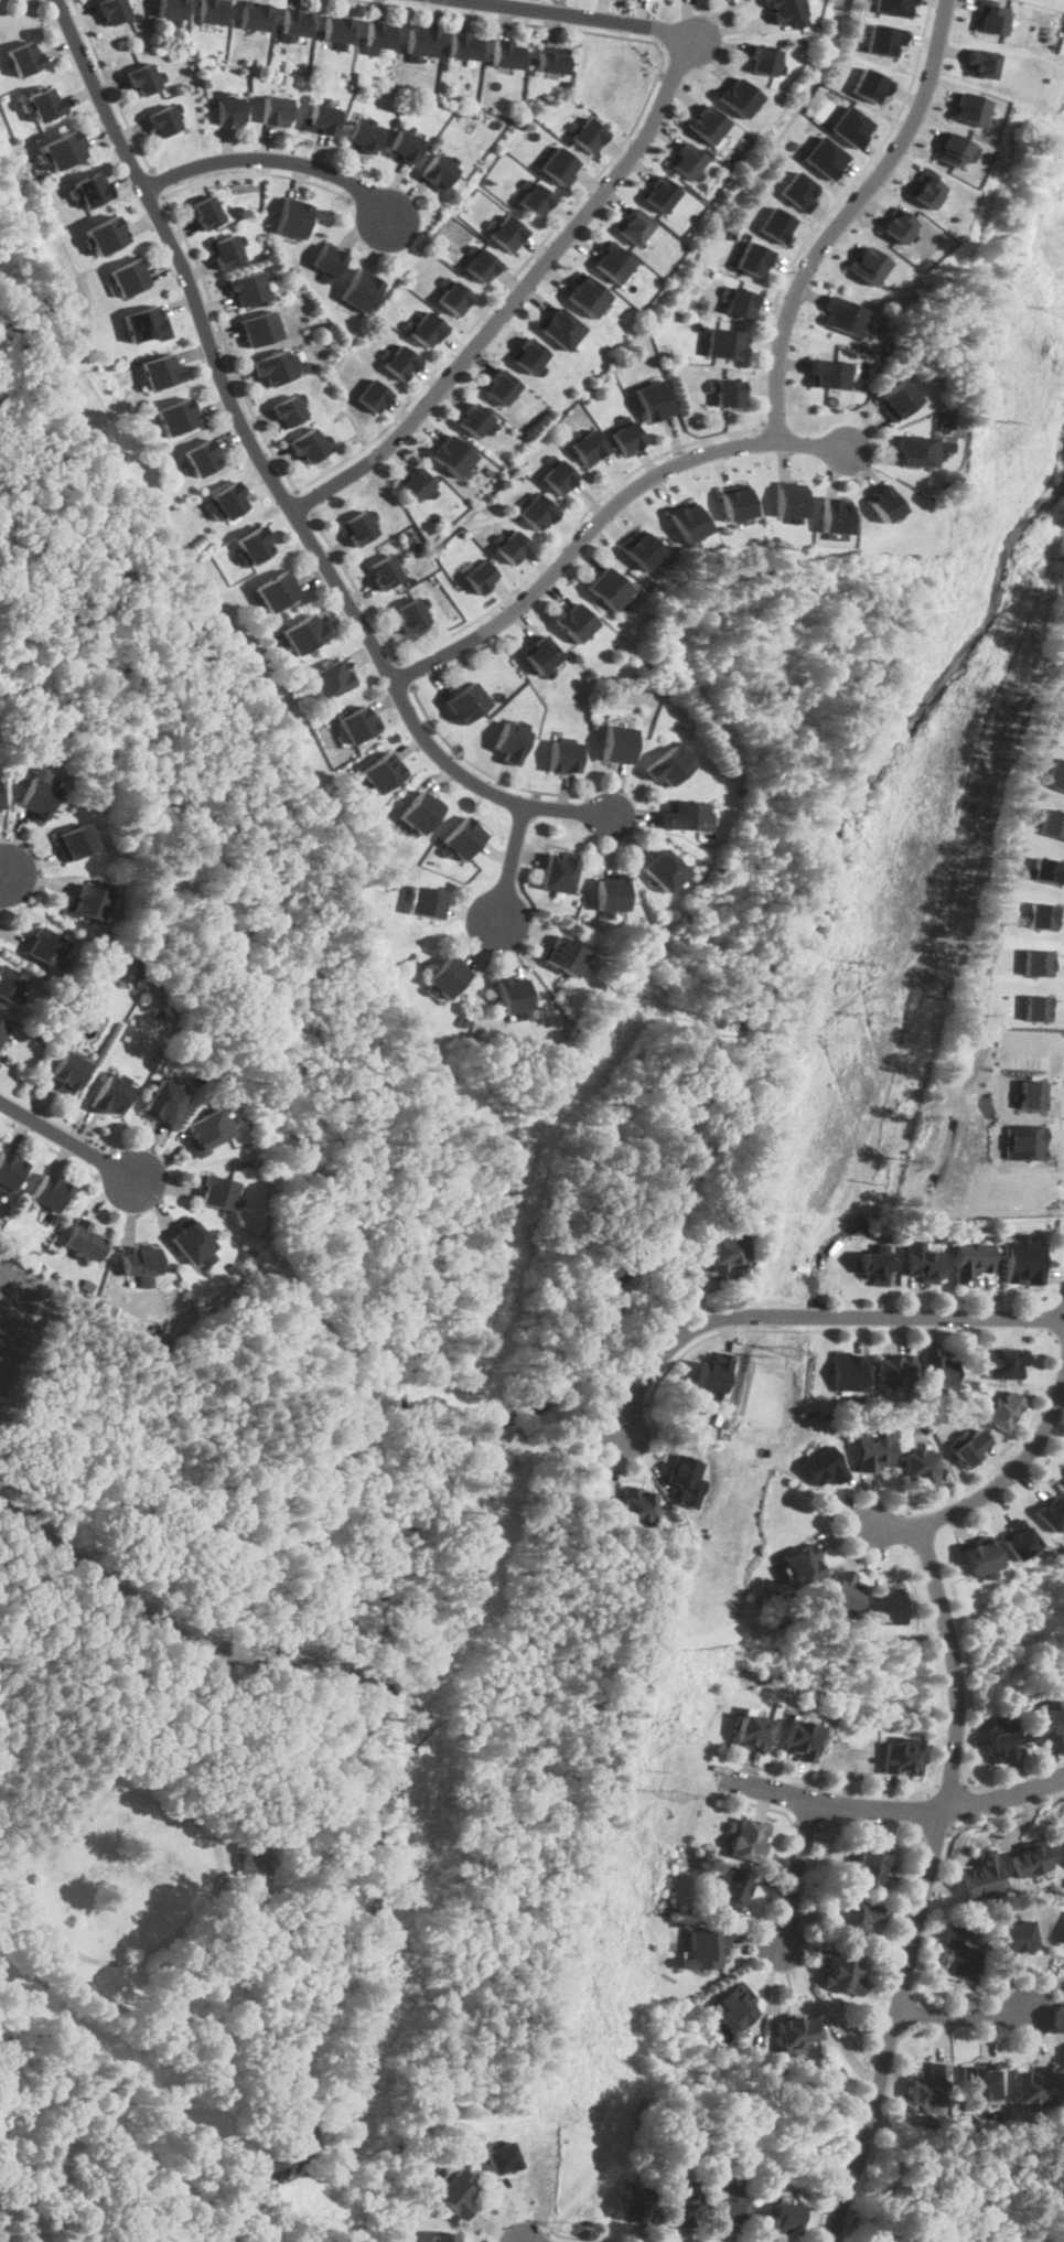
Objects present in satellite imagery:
road: (52, 1)
road: (28, 3)
building: (894, 7)
building: (170, 8)
building: (112, 9)
building: (211, 11)
building: (788, 11)
building: (255, 14)
building: (990, 15)
building: (297, 21)
building: (338, 28)
building: (380, 33)
building: (886, 37)
building: (421, 39)
building: (464, 45)
building: (506, 52)
building: (22, 56)
building: (763, 58)
building: (550, 62)
building: (980, 62)
building: (142, 78)
building: (873, 84)
road: (111, 86)
building: (739, 96)
building: (43, 103)
building: (969, 107)
building: (229, 109)
building: (277, 109)
building: (323, 117)
building: (163, 120)
building: (707, 124)
building: (851, 125)
building: (365, 135)
building: (585, 135)
building: (405, 146)
building: (950, 147)
building: (61, 149)
building: (826, 155)
road: (275, 157)
building: (686, 160)
building: (556, 164)
road: (258, 171)
building: (438, 171)
road: (593, 175)
road: (158, 182)
building: (926, 187)
building: (89, 189)
building: (802, 190)
building: (659, 193)
building: (533, 199)
road: (832, 205)
building: (206, 212)
road: (583, 212)
road: (845, 216)
building: (293, 217)
building: (778, 224)
building: (632, 225)
building: (899, 225)
building: (506, 232)
building: (104, 234)
building: (226, 250)
building: (754, 258)
building: (327, 260)
building: (610, 260)
building: (480, 264)
building: (868, 265)
building: (128, 276)
building: (246, 287)
building: (359, 289)
building: (584, 294)
building: (452, 297)
building: (741, 301)
building: (846, 314)
power tower: (1062, 314)
building: (144, 323)
building: (558, 326)
building: (260, 329)
building: (426, 329)
road: (226, 343)
building: (727, 343)
building: (526, 354)
building: (400, 362)
building: (276, 366)
building: (160, 371)
building: (828, 372)
building: (499, 387)
building: (729, 391)
building: (372, 395)
building: (898, 398)
building: (655, 400)
building: (288, 411)
building: (175, 416)
building: (473, 420)
power tower: (998, 420)
building: (627, 438)
building: (308, 446)
building: (588, 447)
building: (916, 450)
building: (451, 455)
building: (201, 458)
building: (557, 476)
road: (271, 479)
building: (417, 484)
building: (788, 498)
building: (228, 501)
building: (735, 501)
road: (303, 502)
building: (885, 502)
building: (536, 512)
building: (835, 514)
road: (600, 518)
building: (688, 519)
road: (572, 526)
building: (357, 528)
building: (252, 545)
building: (513, 547)
building: (643, 548)
building: (384, 571)
building: (477, 577)
road: (355, 587)
building: (608, 588)
building: (275, 590)
building: (410, 614)
building: (574, 621)
building: (302, 633)
building: (540, 654)
road: (405, 673)
building: (329, 679)
building: (465, 702)
power tower: (958, 707)
building: (357, 723)
building: (510, 740)
building: (619, 743)
building: (565, 757)
building: (670, 765)
road: (483, 770)
building: (381, 772)
building: (1055, 773)
building: (364, 790)
building: (36, 798)
building: (0, 804)
building: (419, 812)
building: (685, 815)
building: (1052, 822)
building: (462, 838)
building: (73, 841)
road: (508, 867)
building: (1043, 869)
building: (663, 871)
building: (558, 873)
road: (1, 877)
building: (611, 893)
building: (87, 901)
building: (424, 902)
building: (1039, 914)
building: (43, 946)
building: (563, 956)
power tower: (859, 958)
building: (1036, 961)
building: (447, 976)
building: (9, 984)
building: (514, 995)
building: (1035, 1006)
power tower: (878, 1020)
building: (1, 1029)
building: (67, 1069)
building: (1032, 1091)
building: (110, 1092)
building: (162, 1099)
road: (1062, 1117)
building: (206, 1128)
building: (1025, 1140)
road: (67, 1141)
road: (51, 1147)
building: (9, 1169)
building: (215, 1190)
building: (49, 1192)
building: (84, 1238)
building: (192, 1240)
building: (729, 1252)
building: (140, 1258)
building: (1023, 1258)
building: (924, 1259)
building: (971, 1259)
building: (874, 1264)
road: (809, 1316)
road: (956, 1331)
power tower: (795, 1353)
power tower: (762, 1358)
building: (1003, 1361)
building: (894, 1365)
building: (936, 1367)
building: (848, 1370)
building: (714, 1372)
road: (635, 1398)
building: (1002, 1409)
building: (966, 1446)
building: (874, 1449)
building: (921, 1463)
building: (825, 1465)
building: (689, 1479)
road: (991, 1488)
building: (638, 1503)
building: (1051, 1511)
road: (909, 1530)
building: (1019, 1537)
building: (979, 1555)
building: (800, 1564)
building: (842, 1595)
building: (886, 1605)
building: (1044, 1723)
building: (751, 1730)
building: (798, 1738)
building: (1002, 1740)
building: (900, 1757)
power tower: (654, 1762)
road: (934, 1769)
power tower: (678, 1795)
road: (761, 1804)
road: (893, 1809)
road: (923, 1812)
road: (1006, 1814)
road: (806, 1824)
building: (1063, 1834)
road: (934, 1835)
building: (748, 1838)
building: (255, 1858)
building: (1031, 1858)
building: (869, 1868)
road: (214, 1871)
road: (795, 1871)
building: (981, 1876)
road: (923, 1887)
building: (731, 1892)
building: (857, 1918)
building: (1062, 1935)
building: (1014, 1938)
building: (705, 1949)
building: (958, 1955)
building: (845, 1974)
road: (886, 1987)
building: (737, 2005)
road: (961, 2016)
building: (798, 2030)
building: (982, 2081)
building: (928, 2085)
building: (1034, 2087)
building: (502, 2157)
building: (456, 2192)
building: (635, 2202)
building: (679, 2202)
building: (727, 2209)
building: (778, 2219)
power tower: (568, 2229)
building: (441, 2238)
road: (581, 2238)

